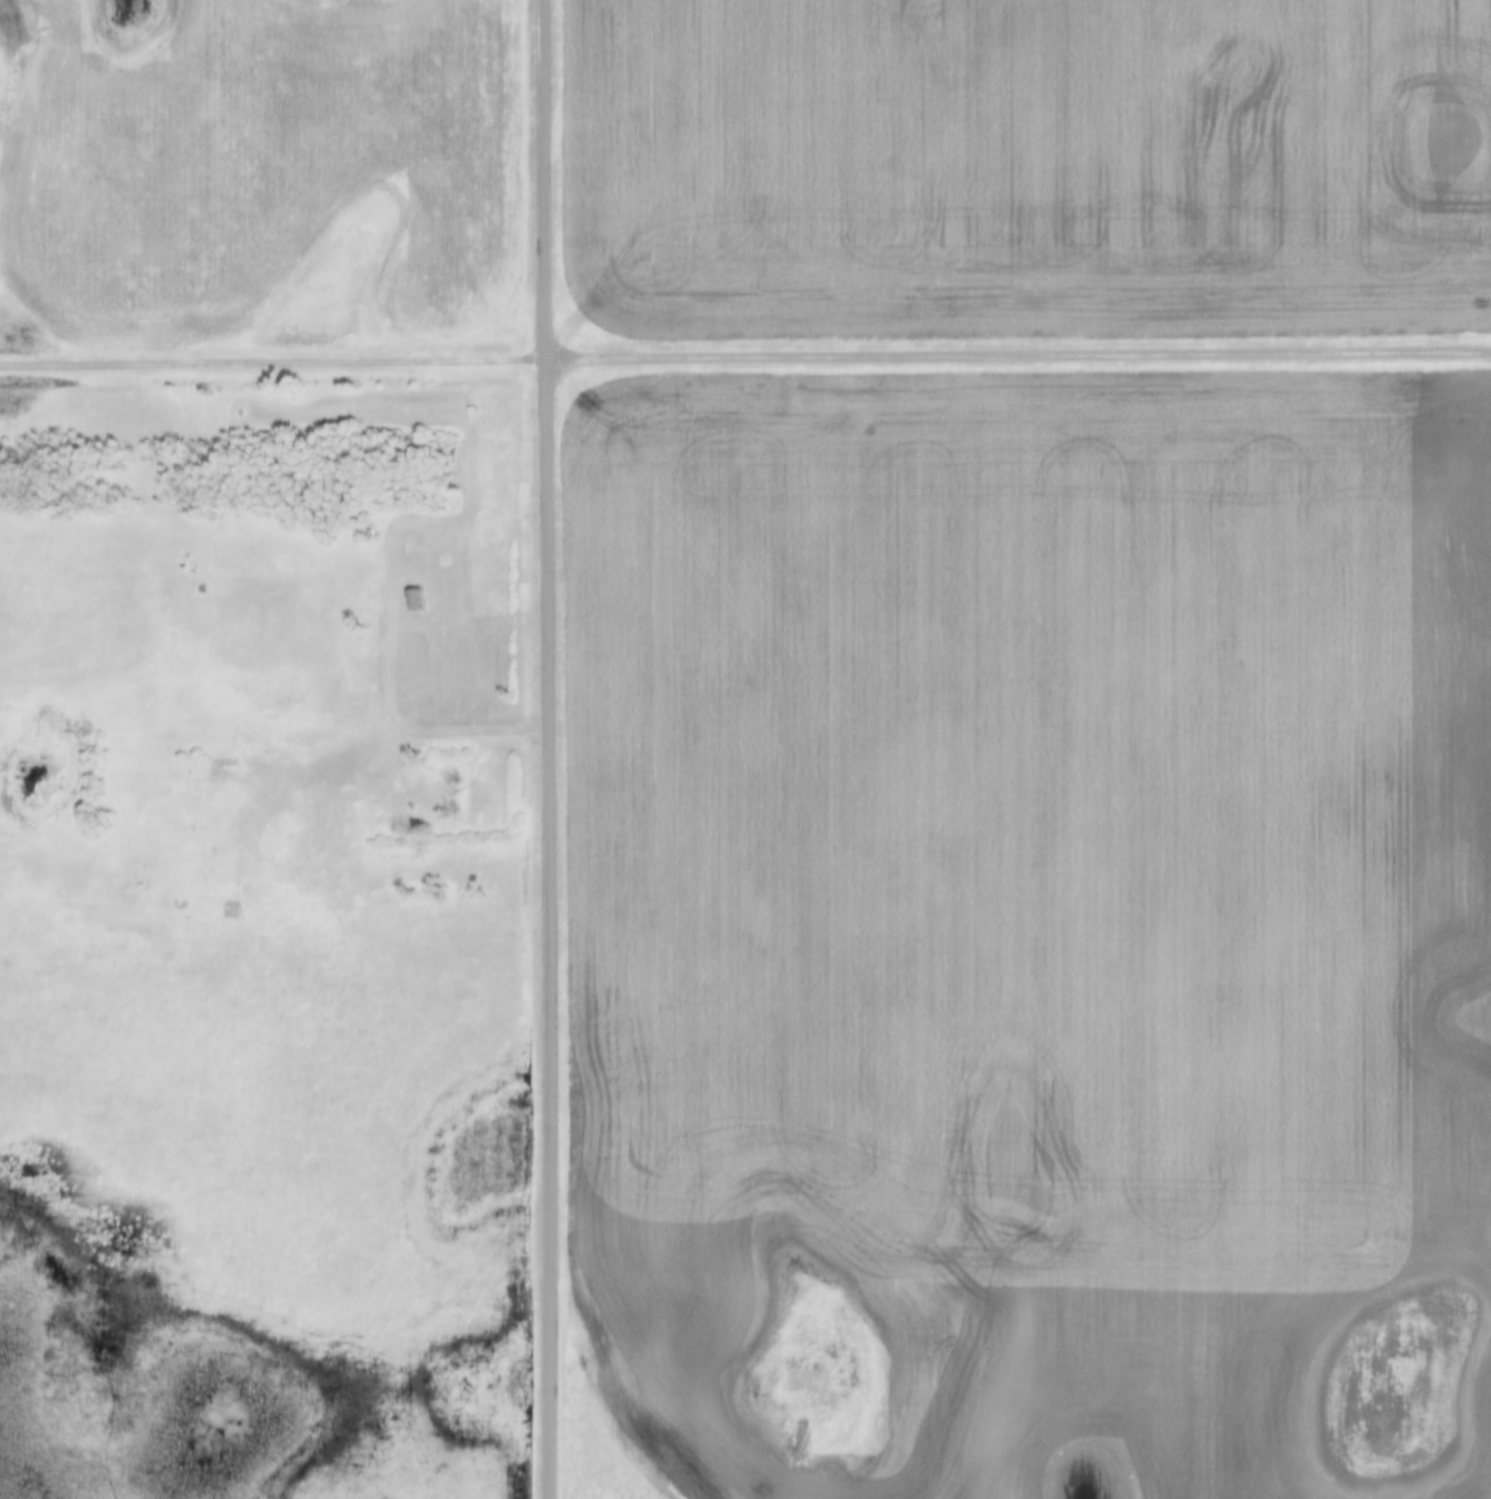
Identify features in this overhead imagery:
road: (745, 360)
building: (471, 411)
road: (359, 576)
road: (476, 734)
road: (544, 749)

